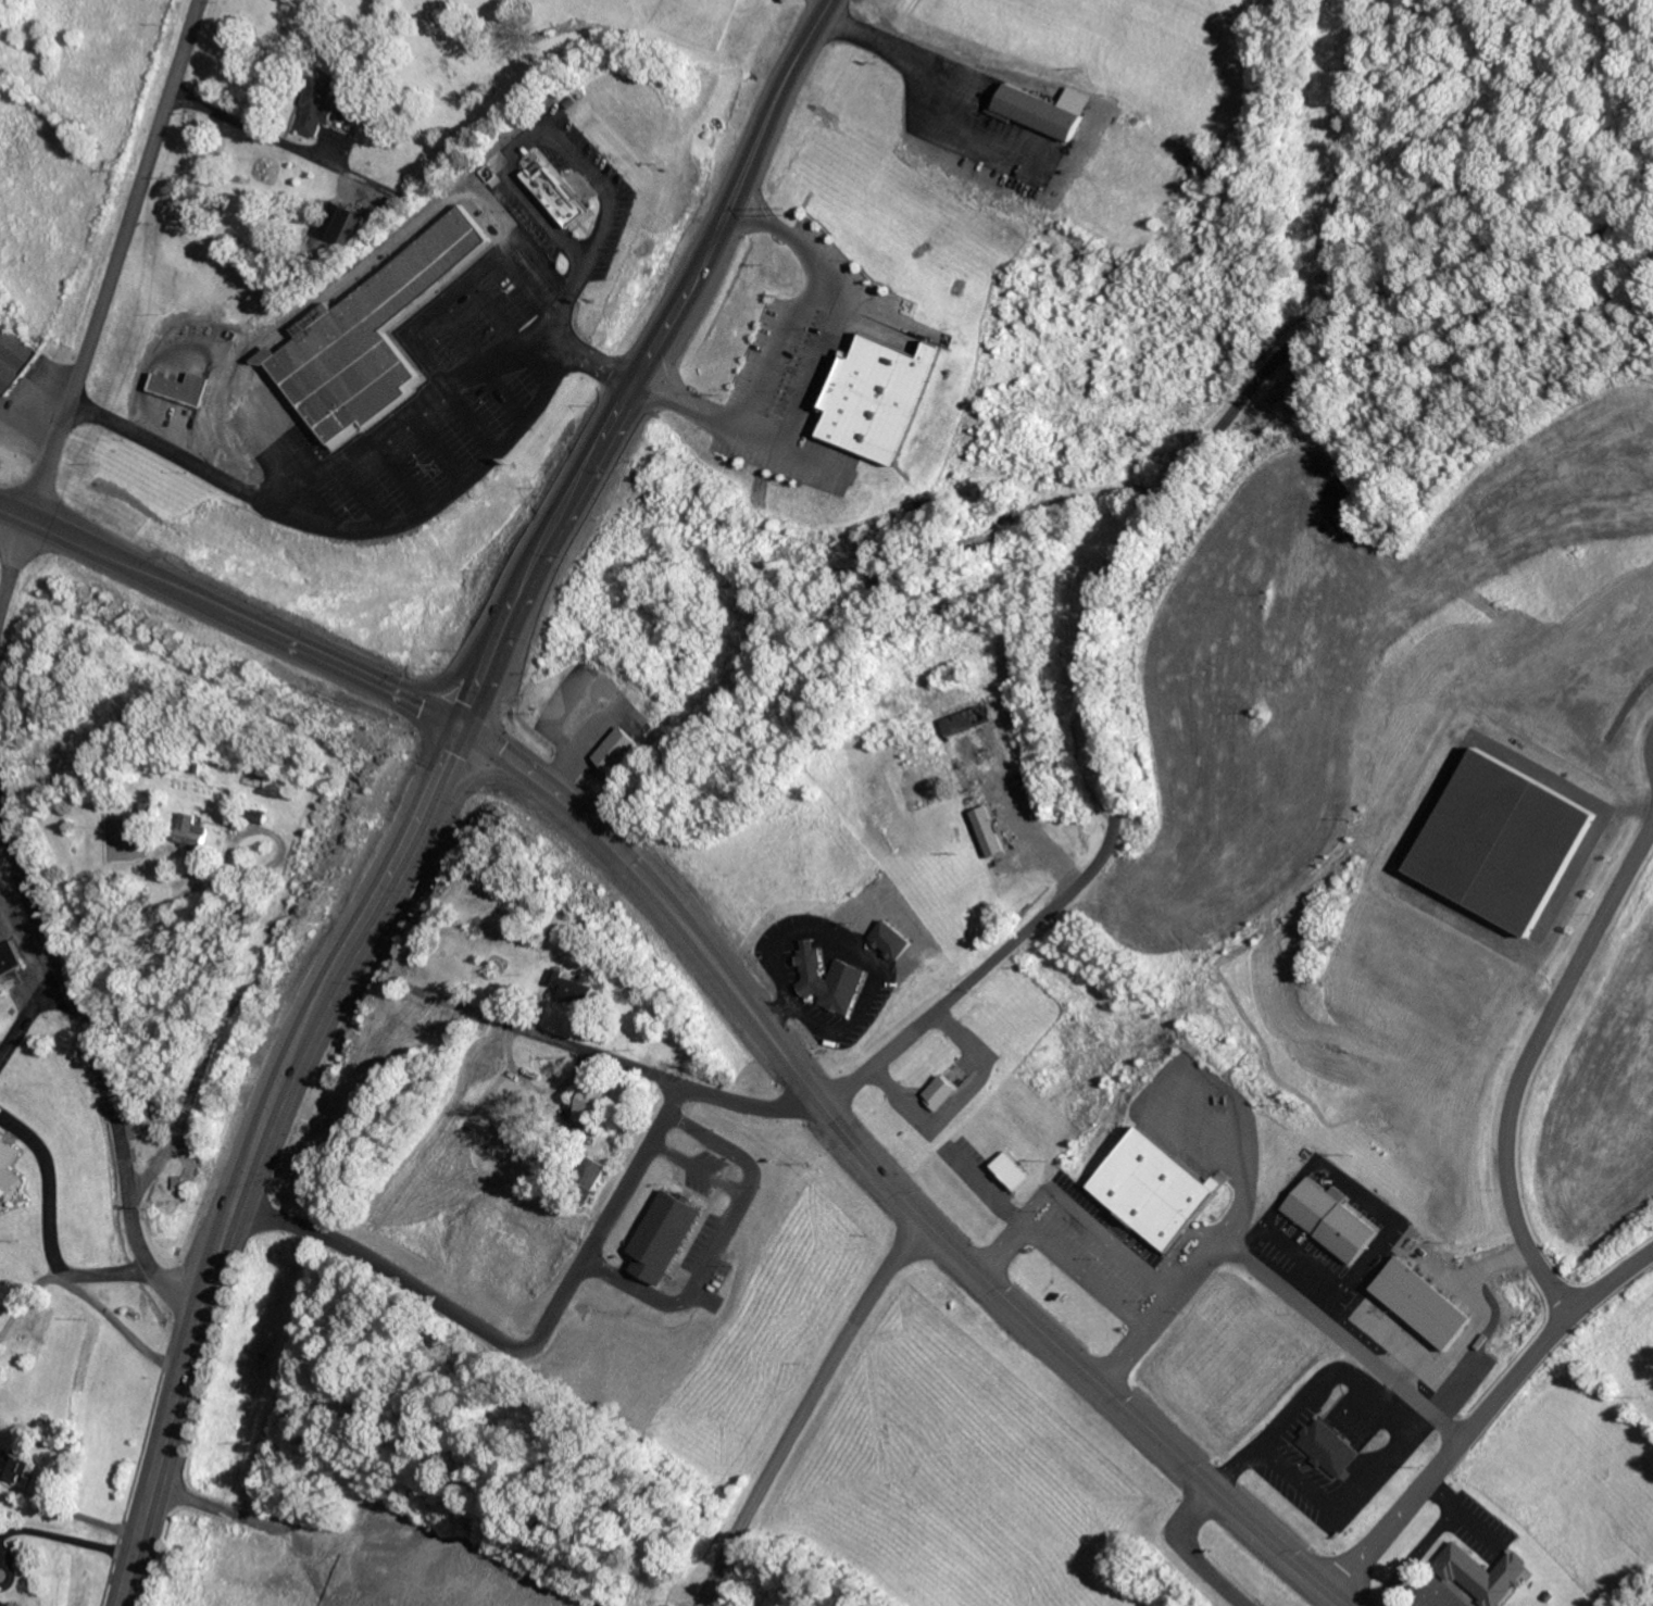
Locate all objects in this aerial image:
road: (823, 4)
road: (780, 99)
building: (322, 101)
building: (1044, 108)
road: (247, 126)
road: (567, 147)
building: (555, 190)
building: (342, 223)
road: (96, 311)
building: (367, 334)
road: (565, 338)
road: (771, 348)
building: (12, 356)
building: (180, 386)
building: (882, 396)
road: (587, 462)
road: (1109, 577)
road: (228, 611)
building: (967, 718)
building: (616, 749)
building: (987, 830)
building: (196, 832)
building: (1505, 841)
road: (5, 848)
building: (892, 939)
building: (10, 957)
road: (548, 973)
building: (828, 979)
building: (569, 986)
road: (362, 1000)
road: (612, 1059)
road: (99, 1064)
road: (1527, 1066)
building: (940, 1091)
building: (592, 1106)
road: (175, 1126)
road: (247, 1152)
building: (1013, 1169)
building: (8, 1172)
road: (879, 1183)
building: (1160, 1189)
road: (1074, 1210)
building: (1331, 1218)
building: (664, 1235)
road: (1272, 1279)
building: (1424, 1303)
road: (1475, 1319)
road: (1485, 1416)
road: (1264, 1441)
building: (1328, 1446)
road: (991, 1463)
building: (14, 1464)
building: (1483, 1571)

